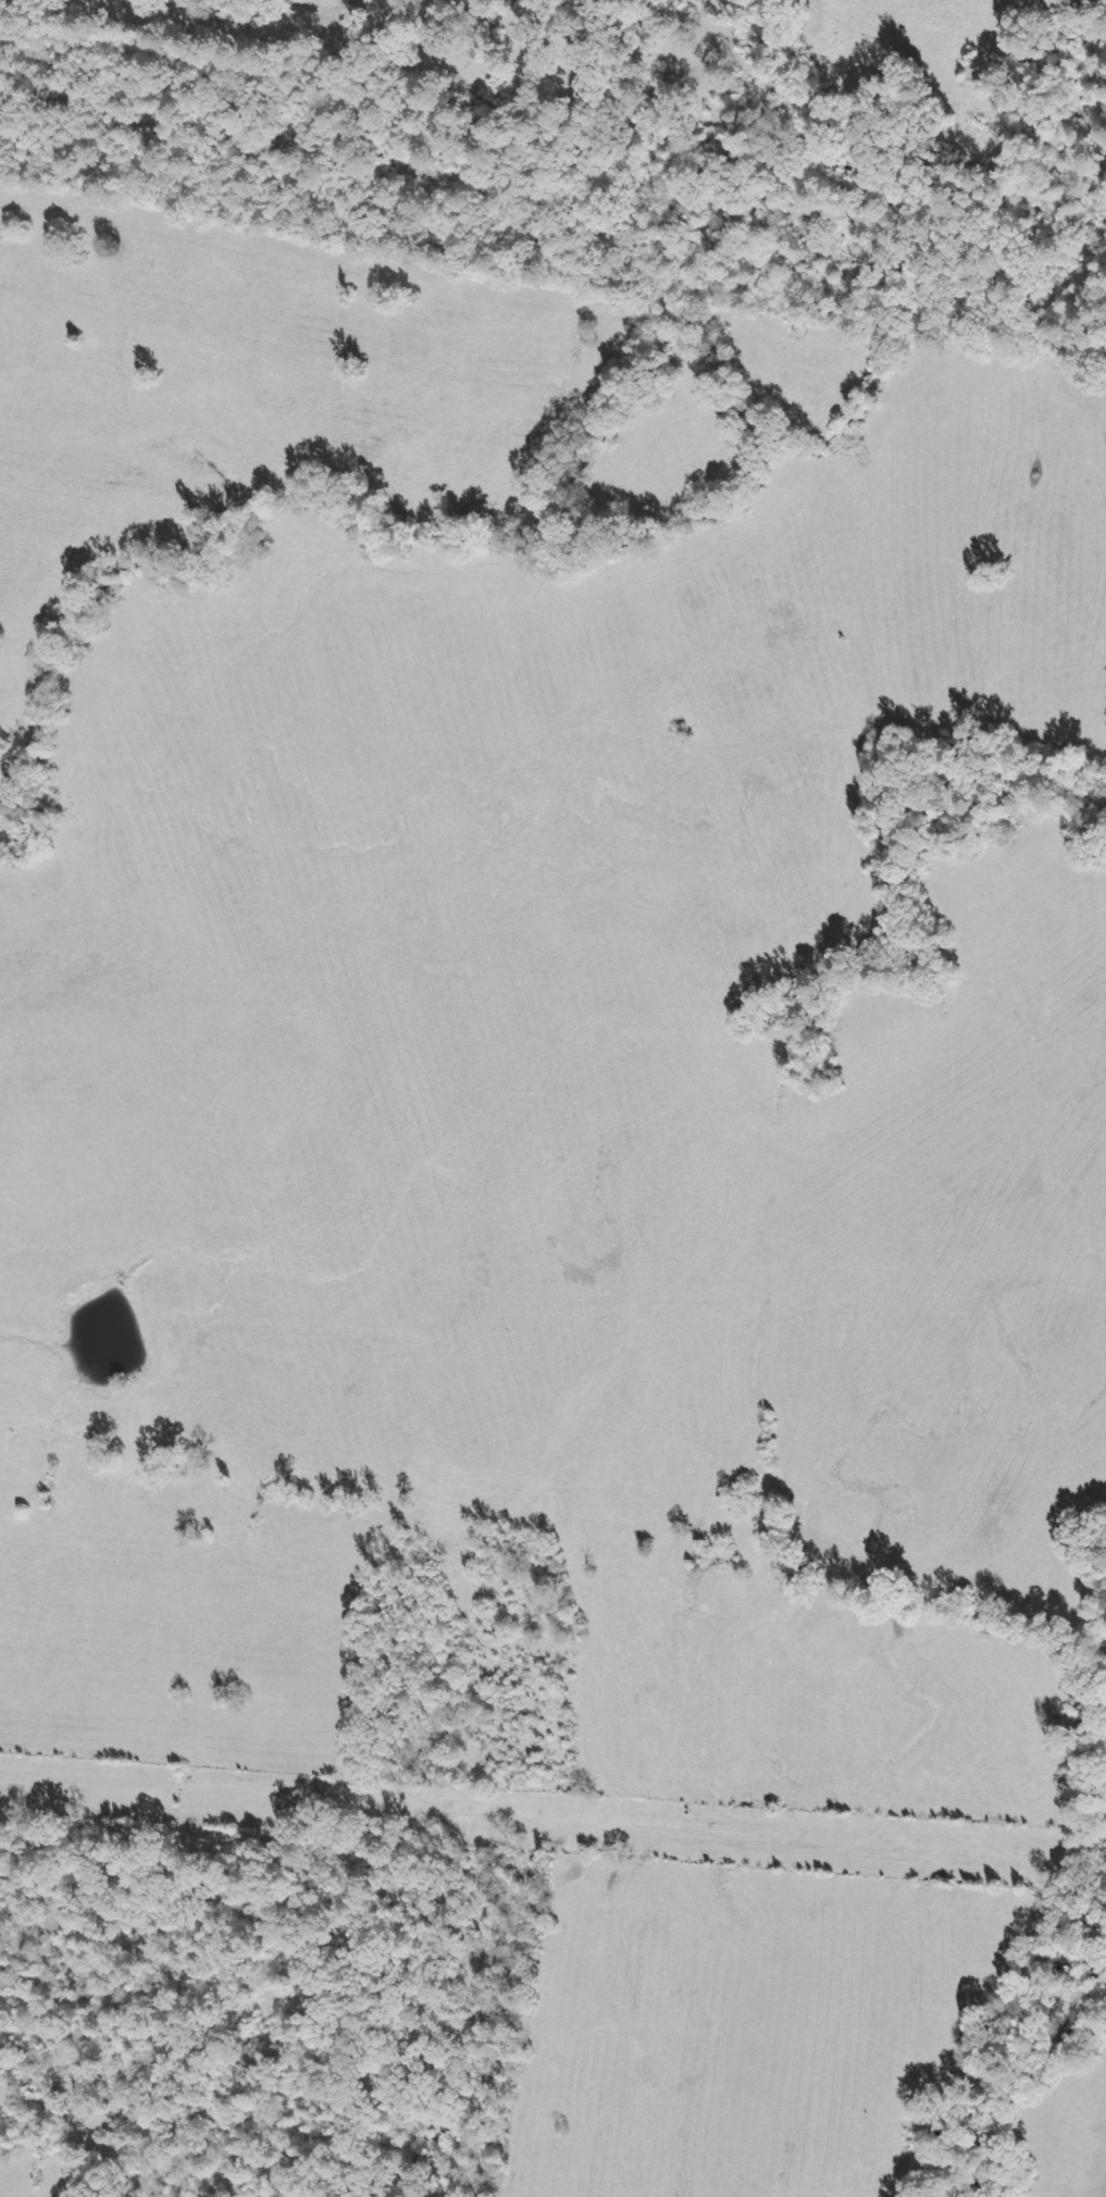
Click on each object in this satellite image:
road: (552, 1753)

